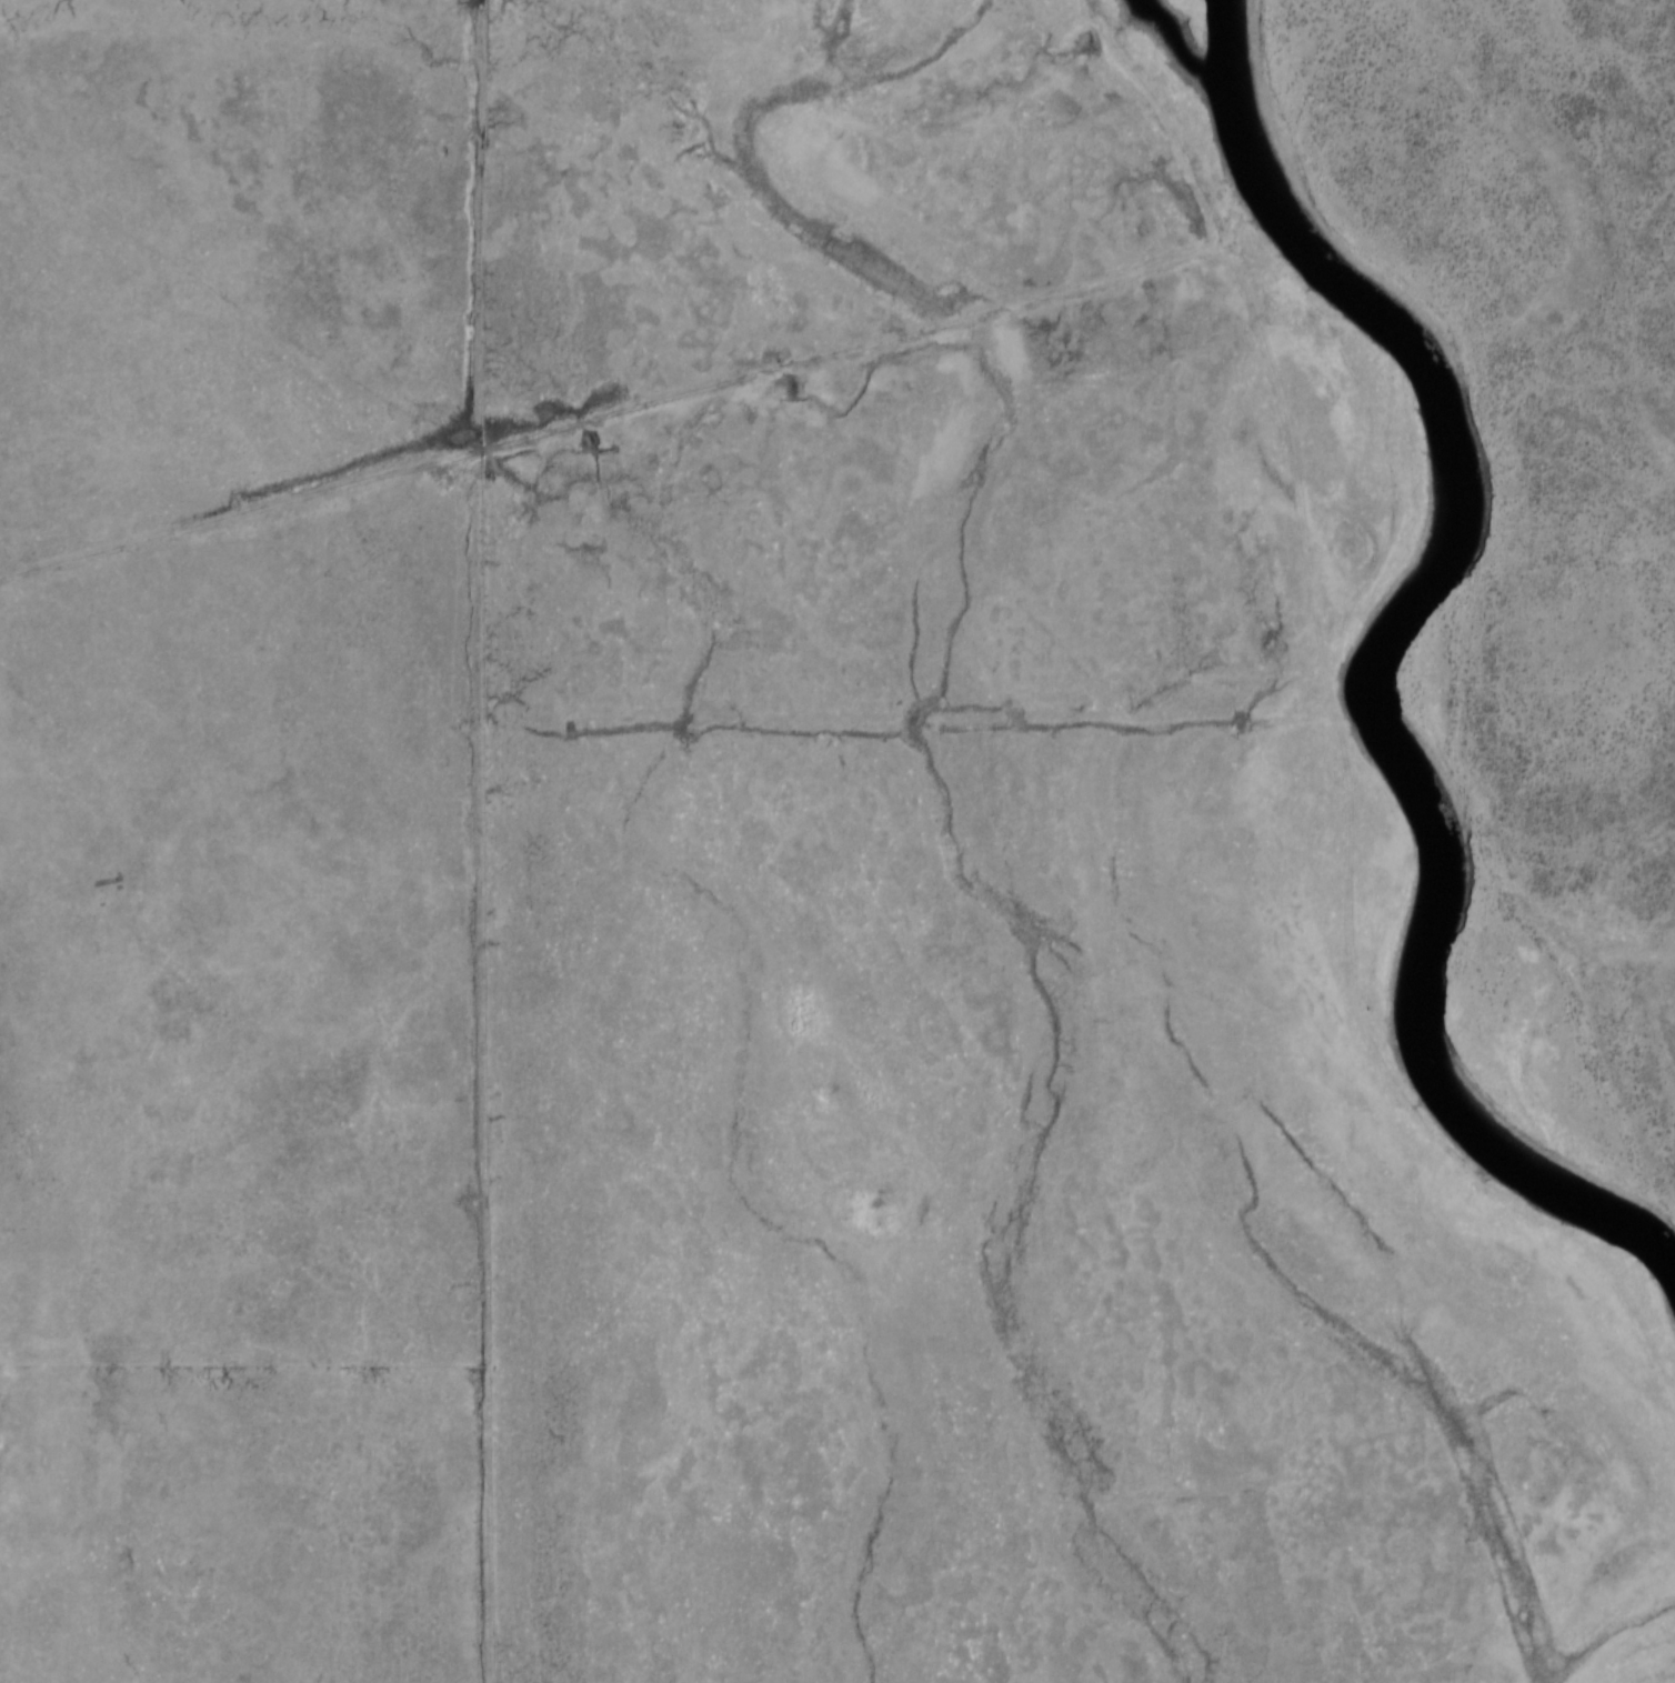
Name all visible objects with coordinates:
road: (1165, 116)
road: (1234, 263)
road: (2, 1048)

